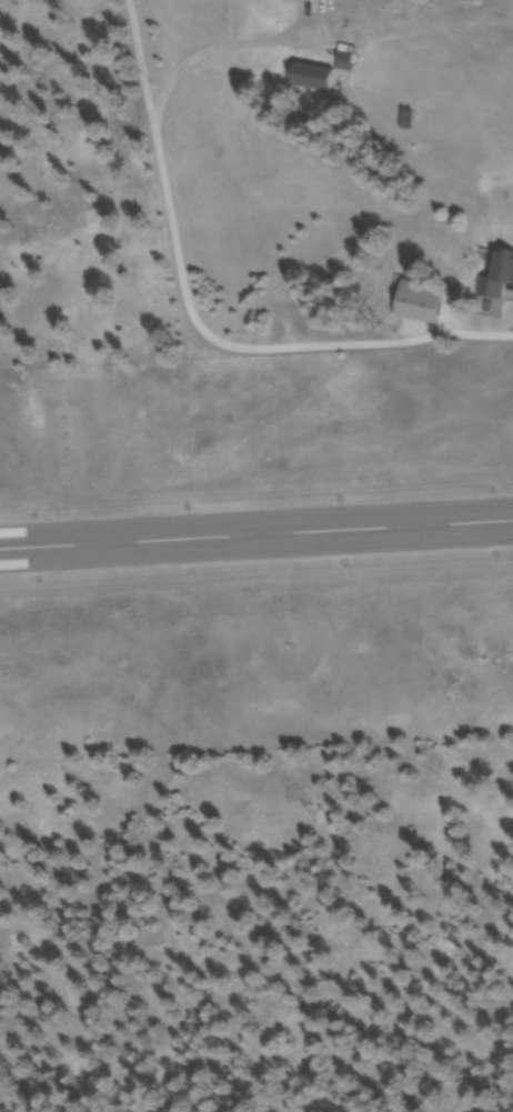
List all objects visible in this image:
building: (314, 79)
building: (433, 219)
building: (501, 277)
airport runway: (256, 534)
airport: (255, 557)

